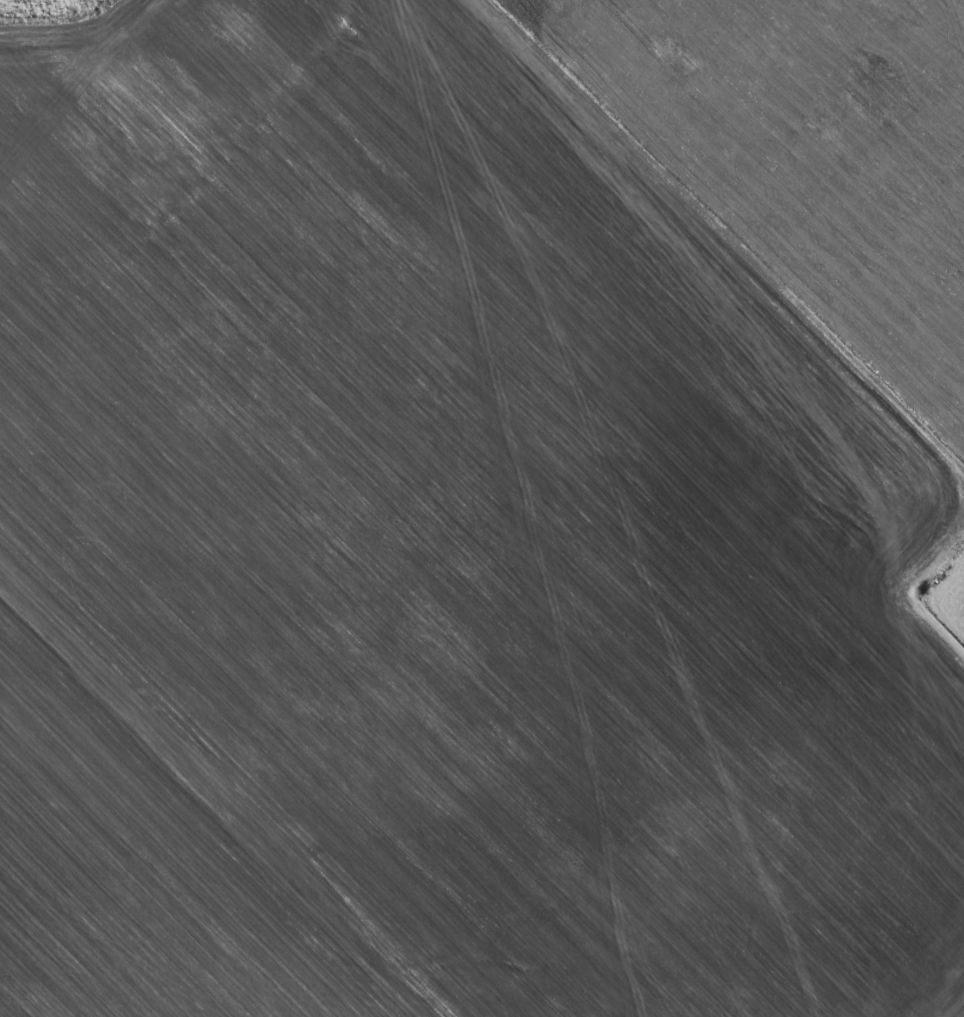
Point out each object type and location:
road: (725, 238)

